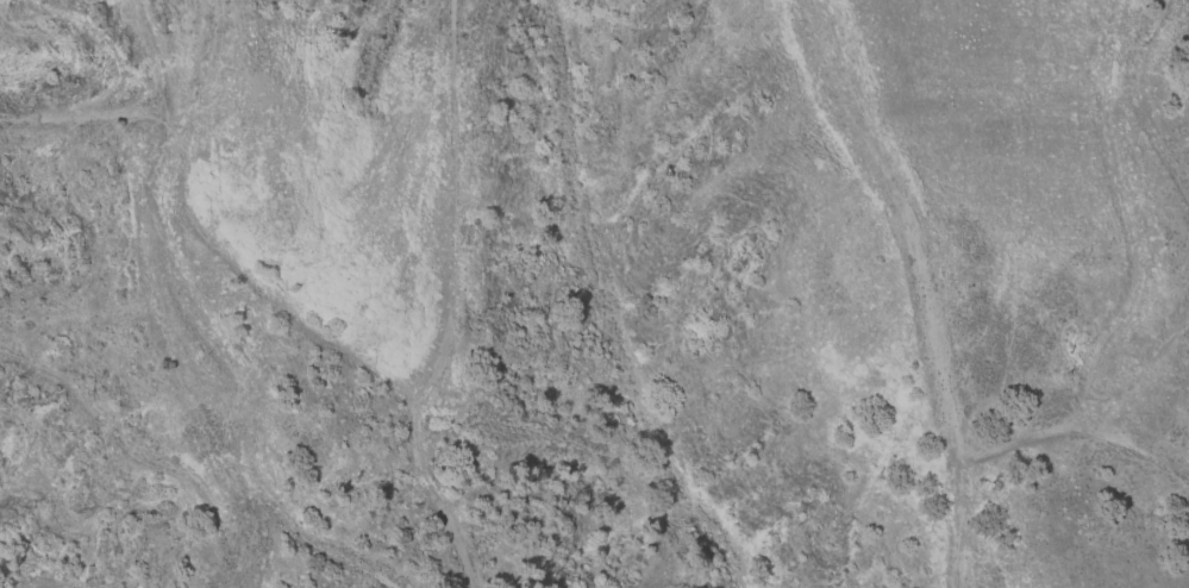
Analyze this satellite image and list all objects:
road: (202, 75)
road: (1137, 451)

